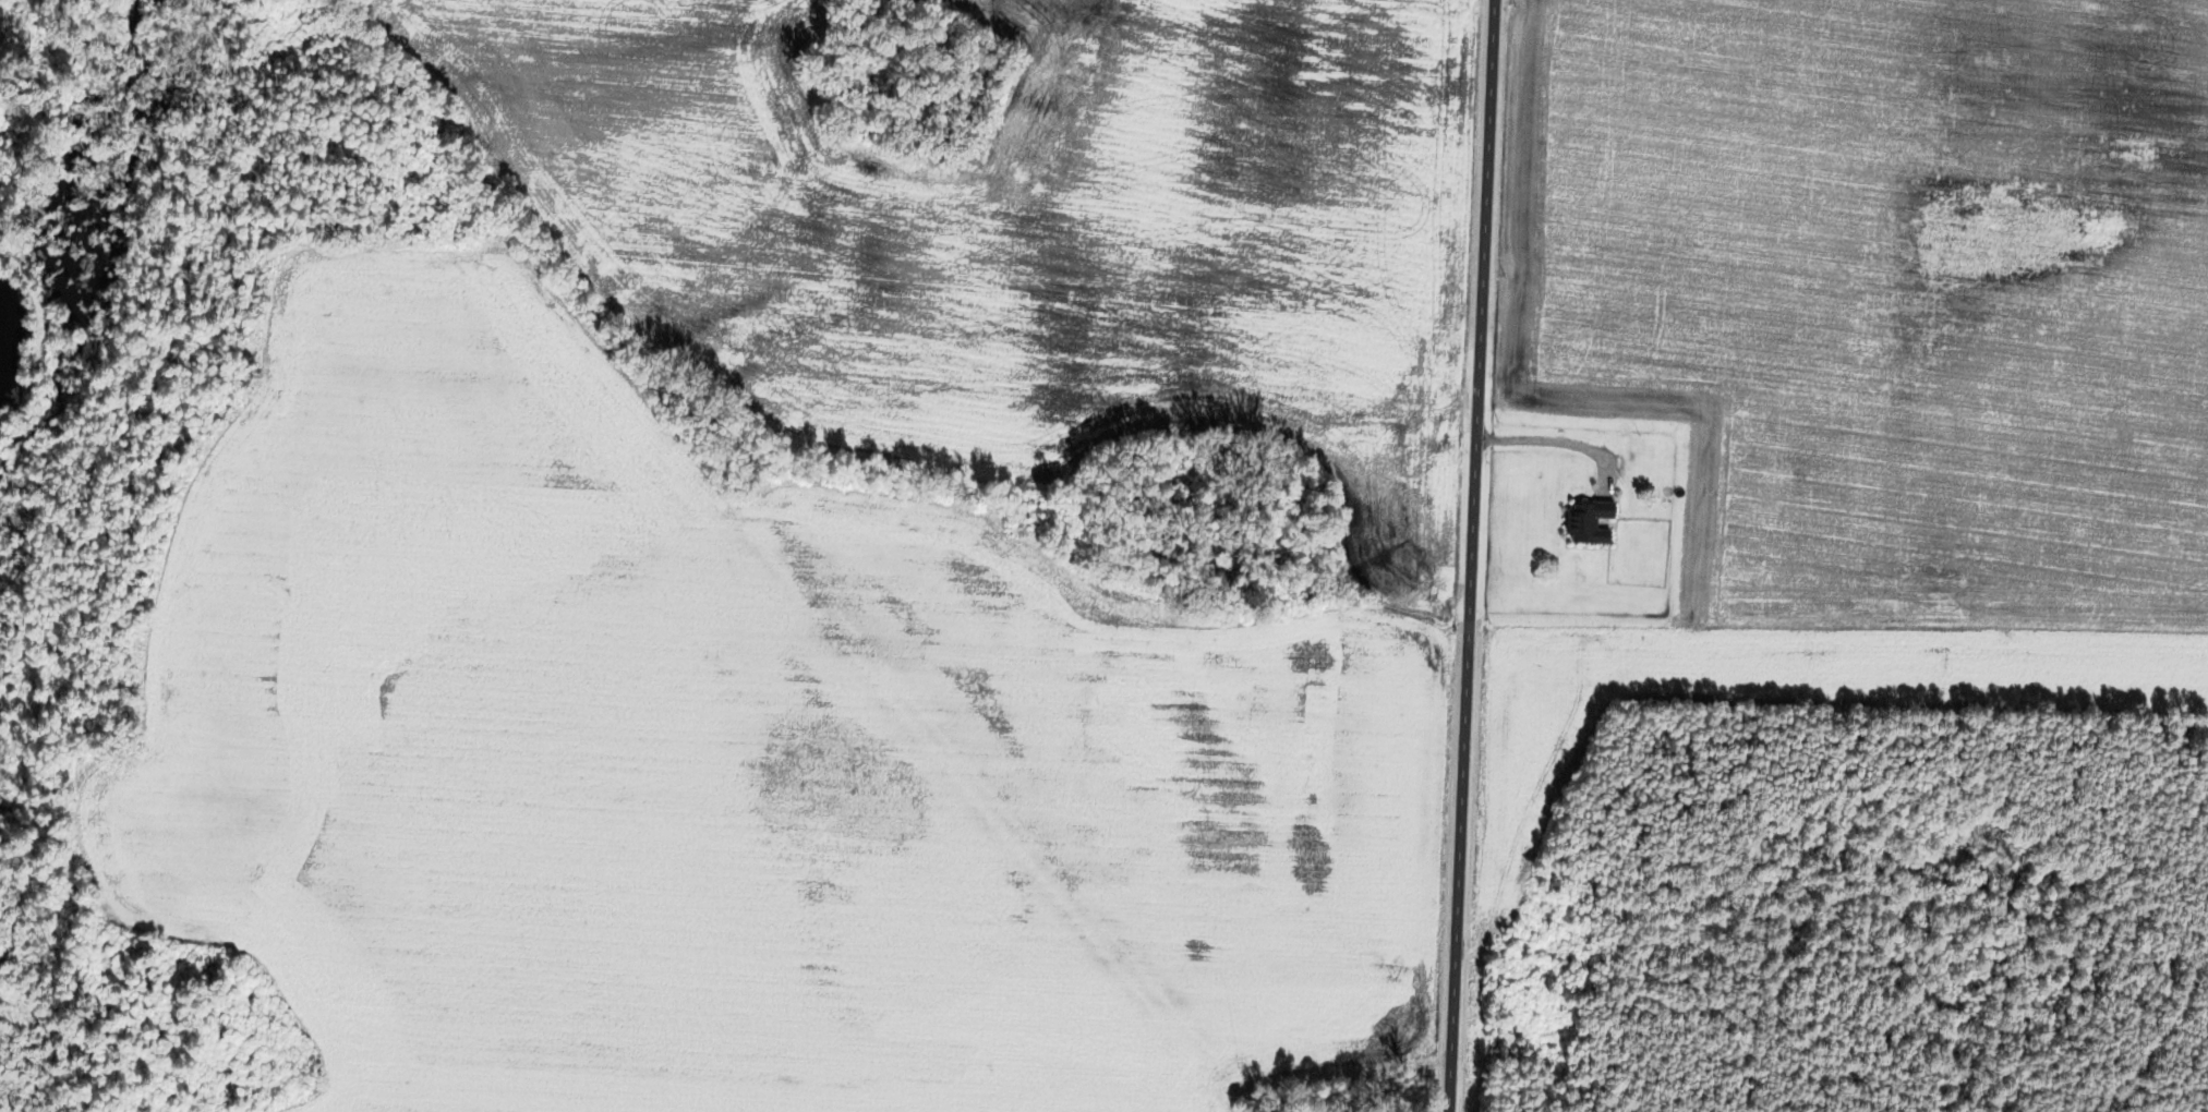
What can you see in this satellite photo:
crop: (8, 33)
building: (1585, 521)
road: (1470, 555)
road: (1377, 1083)

